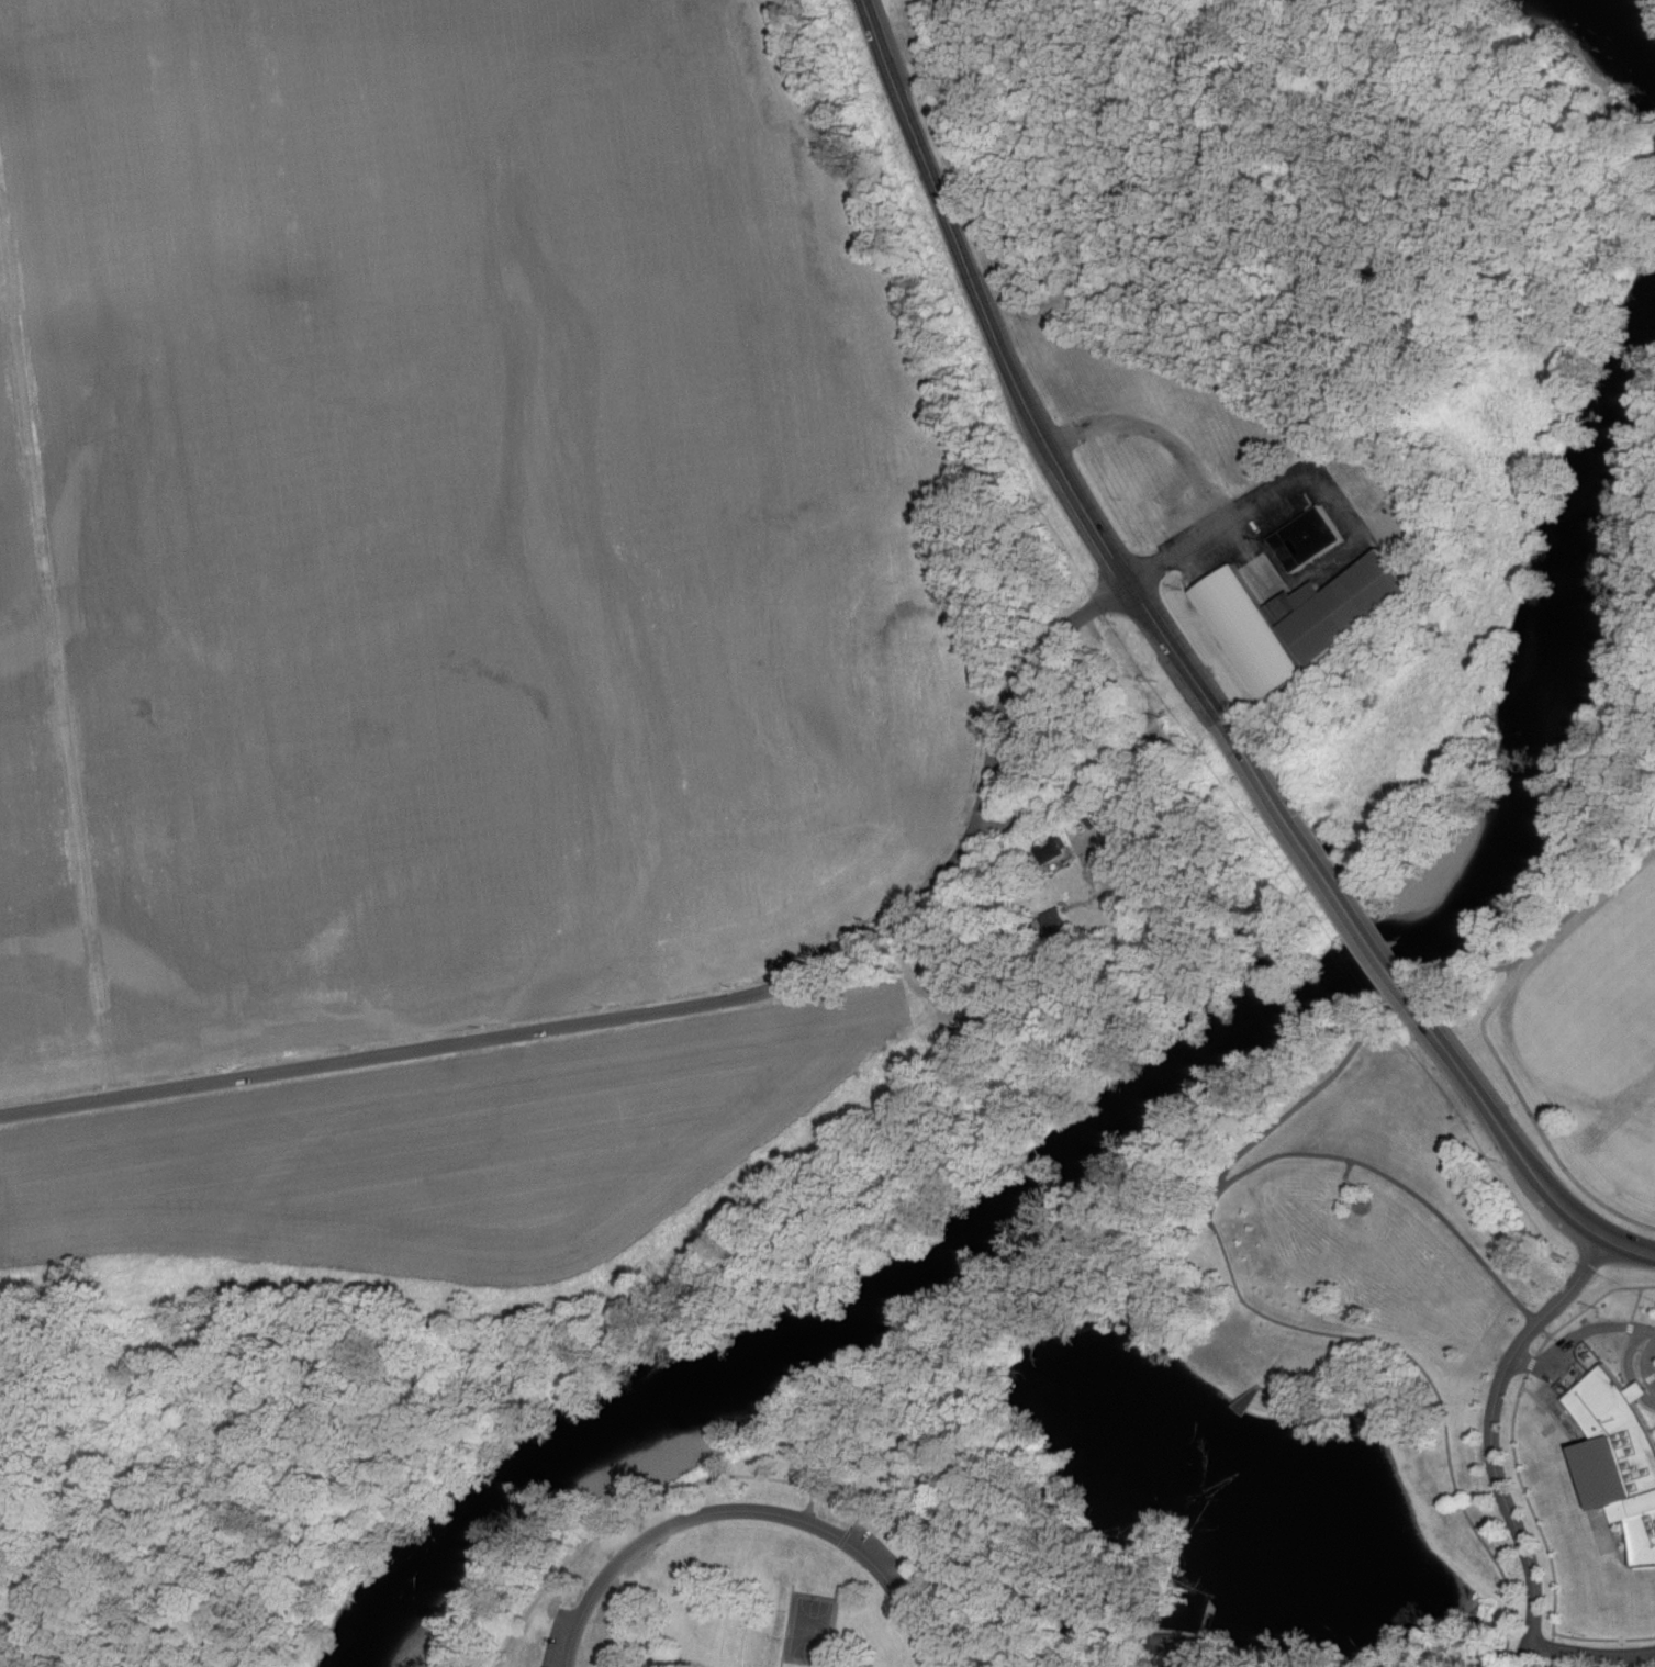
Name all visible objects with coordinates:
river: (1623, 18)
road: (982, 300)
parking lot: (1299, 495)
road: (1259, 501)
road: (1226, 517)
crop: (440, 519)
building: (1304, 537)
building: (1343, 608)
building: (1245, 631)
road: (1176, 652)
road: (1123, 749)
road: (1604, 855)
road: (1327, 874)
park: (1591, 942)
road: (909, 975)
road: (669, 1010)
road: (1533, 1115)
river: (1166, 1121)
road: (1510, 1140)
road: (1408, 1187)
road: (1171, 1227)
road: (1628, 1250)
road: (1597, 1300)
road: (1578, 1332)
road: (1648, 1367)
road: (1301, 1372)
road: (1654, 1387)
road: (1440, 1399)
park: (1188, 1437)
road: (1491, 1440)
building: (1617, 1456)
road: (838, 1493)
road: (748, 1511)
road: (624, 1514)
road: (1541, 1531)
parking lot: (905, 1587)
park: (808, 1627)
parking lot: (558, 1635)
road: (1201, 1636)
road: (1070, 1649)
road: (1591, 1654)
road: (1262, 1664)

